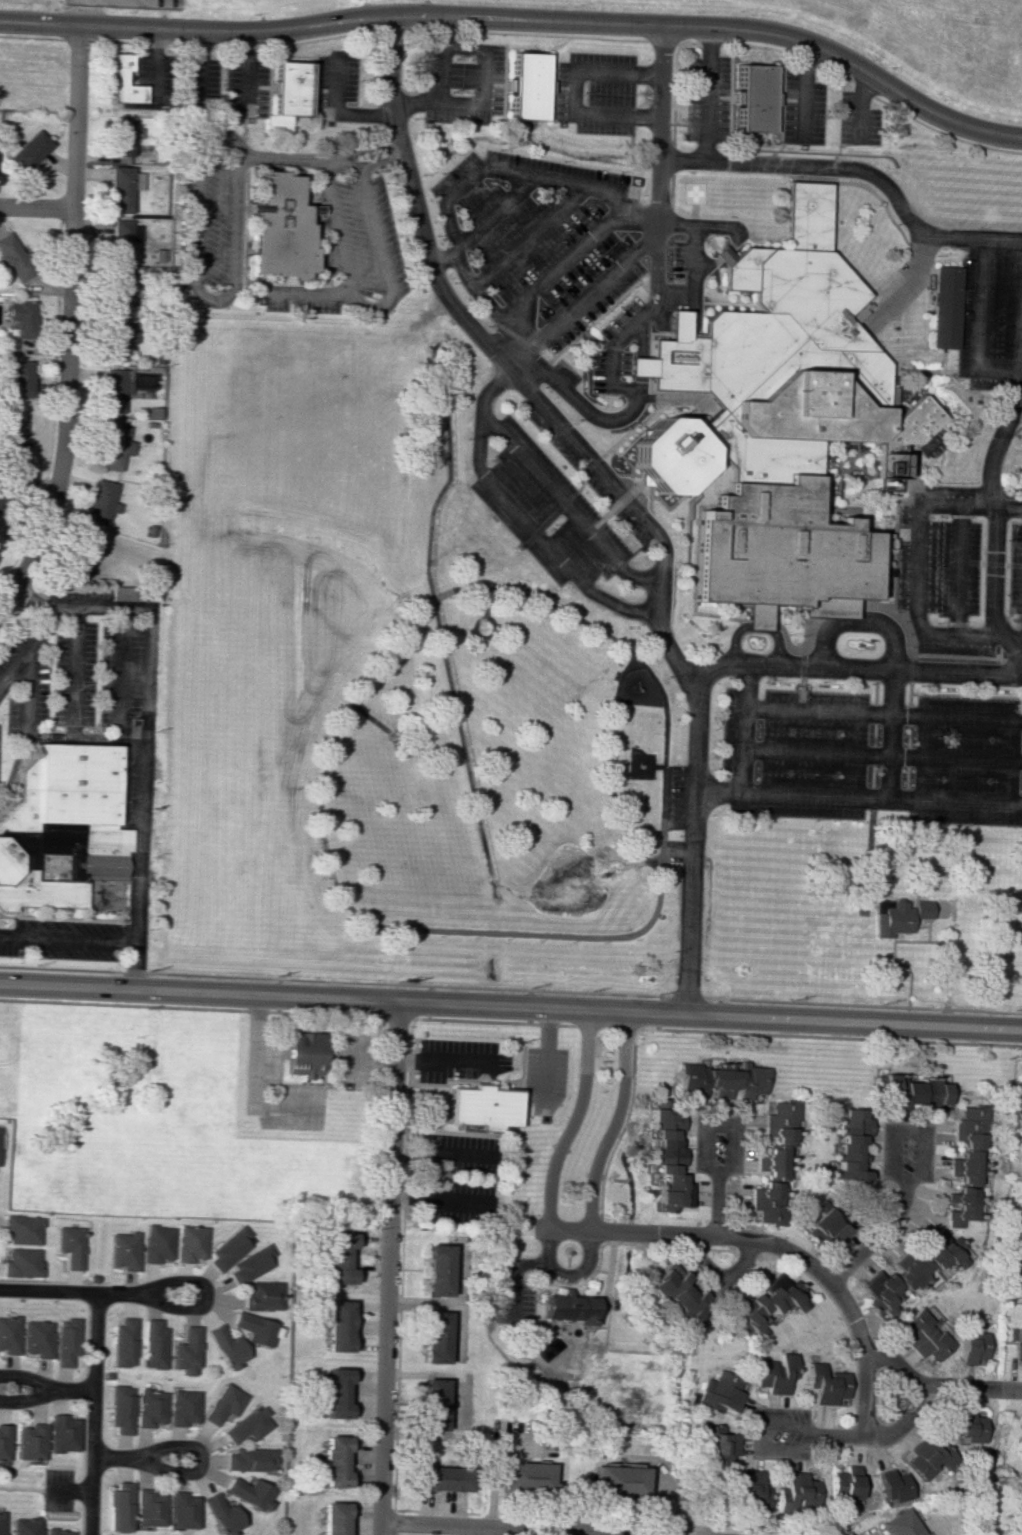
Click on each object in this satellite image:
road: (87, 12)
road: (522, 17)
road: (442, 31)
road: (31, 37)
road: (77, 39)
road: (647, 40)
road: (118, 41)
road: (154, 43)
road: (176, 44)
road: (199, 45)
road: (223, 46)
road: (243, 48)
road: (294, 55)
road: (153, 65)
road: (796, 69)
road: (483, 75)
building: (121, 80)
parking lot: (461, 82)
parking lot: (201, 84)
building: (524, 84)
parking lot: (337, 85)
road: (730, 86)
road: (803, 89)
road: (571, 91)
parking lot: (593, 91)
road: (851, 91)
road: (674, 92)
road: (708, 94)
building: (283, 95)
building: (753, 97)
parking lot: (708, 98)
road: (859, 106)
parking lot: (802, 108)
road: (219, 109)
road: (338, 109)
road: (778, 114)
road: (74, 115)
road: (831, 115)
parking lot: (857, 121)
road: (680, 123)
road: (839, 125)
building: (122, 137)
road: (361, 147)
building: (27, 150)
road: (282, 157)
road: (673, 158)
road: (363, 165)
road: (836, 169)
road: (865, 172)
road: (867, 187)
building: (120, 189)
road: (672, 192)
helipad: (697, 194)
road: (4, 205)
road: (40, 207)
parking lot: (208, 213)
road: (482, 221)
road: (694, 223)
building: (278, 227)
road: (657, 230)
road: (323, 235)
road: (527, 237)
building: (121, 238)
road: (953, 239)
road: (453, 246)
road: (674, 246)
parking lot: (546, 248)
road: (727, 250)
parking lot: (352, 254)
building: (722, 255)
building: (13, 258)
road: (713, 260)
road: (562, 267)
road: (253, 269)
road: (243, 270)
road: (194, 271)
road: (248, 278)
road: (299, 285)
road: (264, 287)
road: (672, 289)
building: (120, 291)
road: (310, 293)
road: (724, 303)
road: (693, 305)
road: (367, 308)
building: (946, 309)
road: (980, 309)
parking lot: (991, 313)
building: (22, 318)
road: (594, 319)
road: (672, 334)
building: (117, 338)
road: (588, 341)
road: (635, 341)
building: (781, 342)
road: (607, 348)
road: (629, 361)
road: (634, 368)
road: (646, 368)
road: (927, 372)
road: (950, 372)
road: (950, 375)
building: (22, 378)
road: (959, 385)
road: (902, 389)
building: (115, 390)
road: (967, 397)
road: (650, 401)
road: (54, 409)
road: (66, 415)
road: (476, 432)
building: (14, 442)
building: (891, 444)
road: (860, 445)
building: (114, 446)
road: (606, 447)
road: (617, 455)
building: (754, 455)
building: (663, 457)
road: (584, 465)
road: (822, 468)
road: (844, 471)
road: (877, 472)
building: (893, 472)
road: (912, 475)
road: (841, 476)
road: (636, 484)
road: (578, 485)
road: (879, 486)
park: (855, 488)
road: (612, 489)
road: (857, 493)
road: (689, 494)
road: (839, 498)
parking lot: (546, 501)
building: (102, 502)
road: (836, 502)
road: (689, 505)
road: (1010, 505)
road: (563, 506)
road: (669, 507)
road: (839, 510)
road: (631, 511)
road: (999, 513)
road: (546, 517)
road: (859, 527)
road: (633, 539)
building: (86, 552)
building: (773, 554)
road: (875, 568)
road: (961, 569)
parking lot: (960, 570)
road: (917, 574)
road: (878, 577)
building: (134, 593)
road: (432, 599)
road: (100, 606)
road: (43, 609)
road: (45, 627)
road: (473, 629)
road: (774, 629)
road: (1016, 637)
road: (808, 639)
road: (731, 640)
road: (895, 659)
road: (800, 662)
parking lot: (74, 663)
road: (853, 665)
road: (14, 667)
road: (874, 668)
road: (910, 668)
road: (75, 672)
road: (122, 678)
road: (799, 691)
road: (27, 692)
road: (957, 695)
road: (145, 697)
road: (881, 712)
road: (370, 717)
road: (741, 726)
road: (872, 732)
parking lot: (0, 734)
road: (50, 738)
road: (906, 741)
parking lot: (871, 747)
road: (881, 754)
road: (646, 755)
road: (13, 769)
road: (606, 769)
park: (500, 775)
road: (856, 795)
road: (869, 803)
road: (5, 805)
parking lot: (677, 807)
building: (59, 828)
road: (139, 841)
road: (88, 902)
building: (897, 916)
road: (63, 919)
road: (861, 928)
road: (574, 935)
road: (69, 936)
parking lot: (63, 939)
road: (137, 964)
road: (511, 990)
road: (511, 1006)
road: (190, 1007)
road: (397, 1018)
road: (458, 1020)
road: (605, 1028)
road: (731, 1033)
road: (544, 1052)
building: (303, 1054)
road: (362, 1059)
road: (439, 1061)
road: (354, 1066)
building: (722, 1081)
road: (446, 1082)
road: (255, 1085)
building: (917, 1092)
building: (482, 1107)
road: (573, 1121)
road: (611, 1122)
road: (726, 1124)
road: (911, 1130)
road: (454, 1133)
building: (0, 1137)
building: (971, 1144)
building: (851, 1150)
road: (436, 1152)
building: (668, 1160)
road: (438, 1199)
road: (717, 1203)
building: (827, 1227)
building: (24, 1229)
road: (880, 1235)
road: (615, 1242)
building: (191, 1243)
building: (158, 1244)
road: (778, 1244)
building: (72, 1246)
building: (229, 1249)
building: (125, 1250)
building: (338, 1258)
building: (23, 1263)
building: (251, 1264)
road: (607, 1266)
road: (387, 1267)
building: (436, 1270)
road: (600, 1271)
road: (721, 1273)
building: (913, 1273)
road: (566, 1275)
road: (516, 1277)
road: (400, 1278)
road: (70, 1292)
road: (205, 1295)
building: (260, 1296)
building: (679, 1298)
road: (457, 1305)
building: (765, 1305)
building: (570, 1308)
road: (837, 1309)
building: (337, 1325)
building: (253, 1328)
road: (607, 1328)
road: (457, 1331)
building: (10, 1334)
building: (924, 1335)
building: (434, 1337)
building: (39, 1338)
park: (576, 1338)
building: (67, 1342)
building: (1016, 1342)
building: (125, 1343)
building: (154, 1344)
building: (226, 1347)
building: (974, 1349)
building: (186, 1351)
road: (578, 1361)
road: (557, 1364)
building: (775, 1373)
road: (444, 1376)
road: (25, 1377)
building: (826, 1384)
road: (968, 1386)
road: (70, 1390)
park: (625, 1391)
building: (335, 1393)
building: (719, 1394)
road: (914, 1397)
road: (24, 1400)
building: (224, 1404)
building: (433, 1406)
building: (184, 1407)
building: (151, 1408)
building: (122, 1409)
road: (93, 1414)
building: (248, 1425)
building: (969, 1426)
building: (64, 1433)
road: (822, 1435)
road: (762, 1439)
building: (4, 1442)
building: (31, 1442)
building: (716, 1443)
road: (184, 1447)
building: (928, 1458)
building: (250, 1459)
road: (495, 1459)
building: (333, 1461)
building: (528, 1475)
building: (443, 1478)
building: (619, 1481)
building: (844, 1483)
road: (664, 1486)
building: (893, 1486)
building: (750, 1489)
road: (70, 1491)
building: (798, 1491)
building: (249, 1493)
building: (120, 1507)
building: (149, 1508)
building: (182, 1510)
road: (436, 1512)
building: (223, 1515)
building: (332, 1518)
building: (2, 1523)
building: (901, 1524)
road: (505, 1525)
building: (27, 1526)
road: (491, 1530)
building: (60, 1532)
road: (582, 1532)

